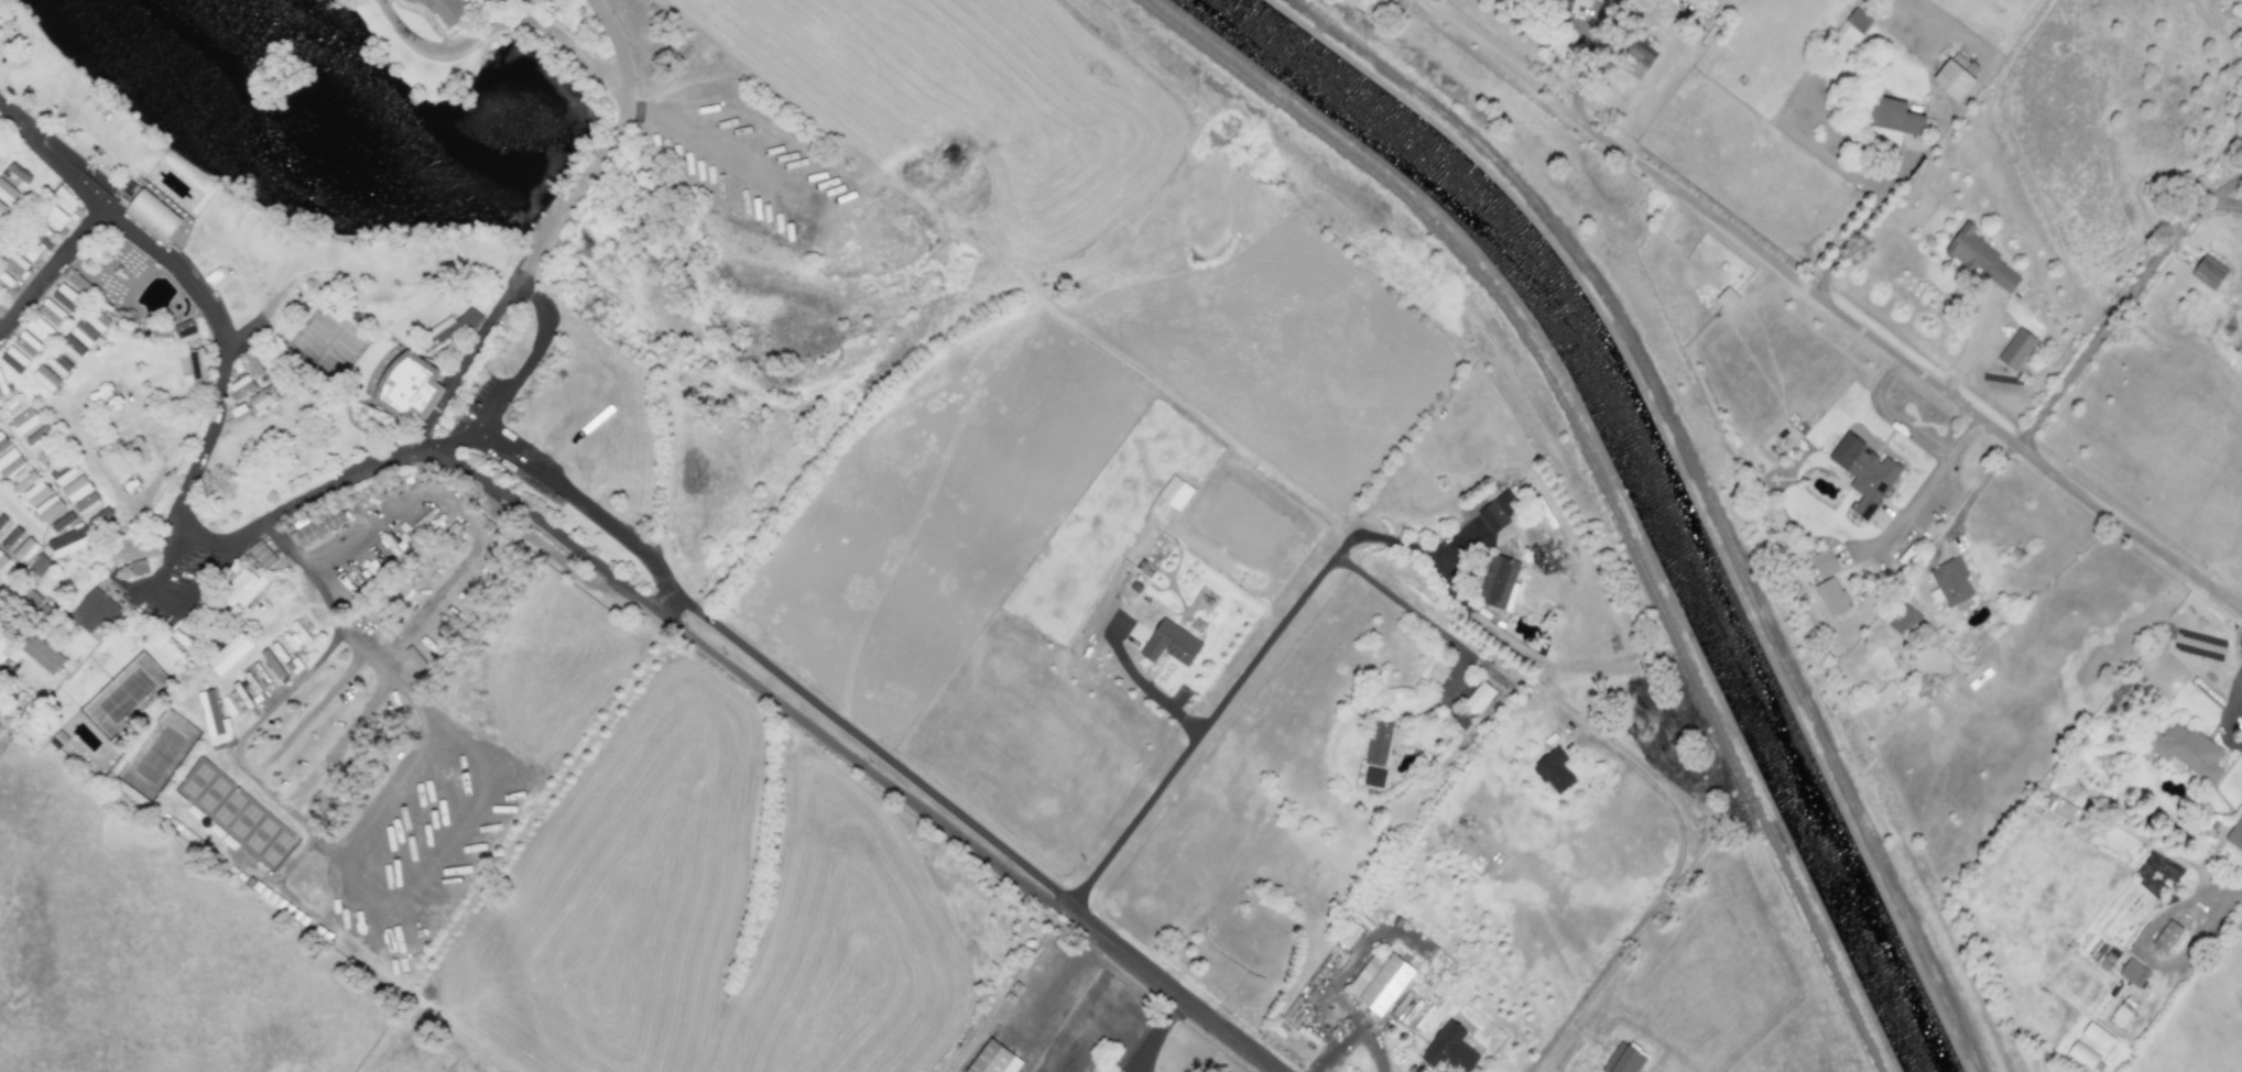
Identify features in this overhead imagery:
building: (1558, 3)
building: (444, 9)
building: (1858, 21)
road: (501, 25)
building: (1635, 58)
building: (1956, 76)
building: (1894, 117)
road: (611, 141)
road: (45, 155)
building: (7, 196)
building: (64, 200)
building: (152, 216)
building: (53, 218)
road: (1857, 225)
building: (178, 233)
building: (43, 234)
building: (31, 251)
parking lot: (177, 258)
building: (1980, 259)
building: (14, 263)
building: (76, 282)
parking lot: (200, 285)
building: (65, 298)
building: (1727, 298)
road: (2119, 303)
road: (1829, 307)
parking lot: (219, 310)
building: (51, 313)
building: (97, 320)
road: (7, 329)
building: (39, 329)
building: (448, 329)
park: (315, 332)
building: (85, 335)
building: (26, 343)
building: (72, 349)
park: (336, 351)
building: (14, 360)
building: (252, 362)
building: (58, 364)
building: (196, 365)
road: (523, 369)
building: (45, 379)
building: (2, 387)
building: (240, 387)
building: (407, 387)
parking lot: (480, 398)
building: (250, 407)
road: (1891, 418)
building: (24, 422)
road: (448, 441)
building: (41, 446)
building: (8, 458)
road: (199, 466)
building: (63, 473)
building: (1863, 473)
road: (1937, 474)
building: (23, 478)
building: (76, 489)
building: (35, 493)
building: (1173, 493)
building: (87, 505)
building: (48, 508)
building: (1500, 511)
building: (62, 522)
building: (317, 527)
building: (10, 538)
building: (74, 539)
building: (25, 550)
building: (1, 558)
building: (1824, 564)
building: (39, 566)
building: (138, 568)
building: (1951, 582)
building: (1499, 583)
building: (28, 598)
building: (1831, 598)
road: (1403, 609)
building: (94, 611)
building: (1904, 621)
building: (3, 643)
building: (182, 644)
building: (1171, 644)
building: (41, 654)
building: (229, 654)
building: (272, 664)
building: (1438, 671)
road: (1244, 674)
building: (1478, 699)
road: (786, 707)
building: (214, 719)
building: (1378, 742)
building: (2185, 751)
building: (1554, 772)
building: (1373, 777)
building: (2058, 808)
building: (2235, 834)
road: (1653, 897)
building: (2166, 937)
building: (2133, 973)
building: (1380, 983)
building: (2124, 1009)
road: (1353, 1031)
building: (2097, 1036)
building: (1449, 1049)
building: (2081, 1054)
building: (994, 1059)
building: (1623, 1060)

